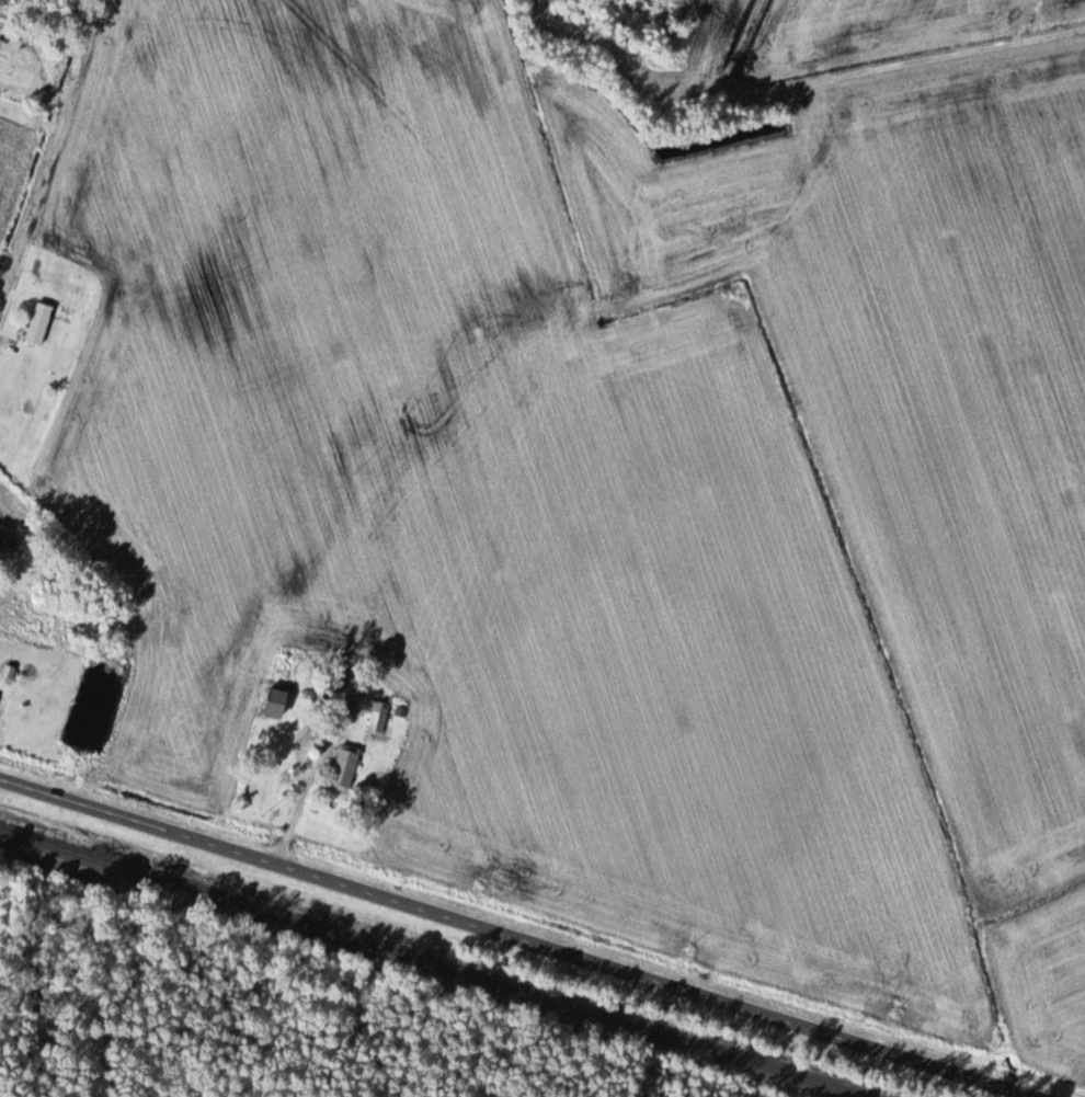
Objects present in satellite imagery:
road: (35, 93)
road: (46, 176)
building: (39, 323)
building: (8, 547)
building: (3, 597)
building: (278, 687)
building: (346, 699)
building: (379, 717)
building: (345, 769)
road: (514, 938)
railway: (434, 962)

